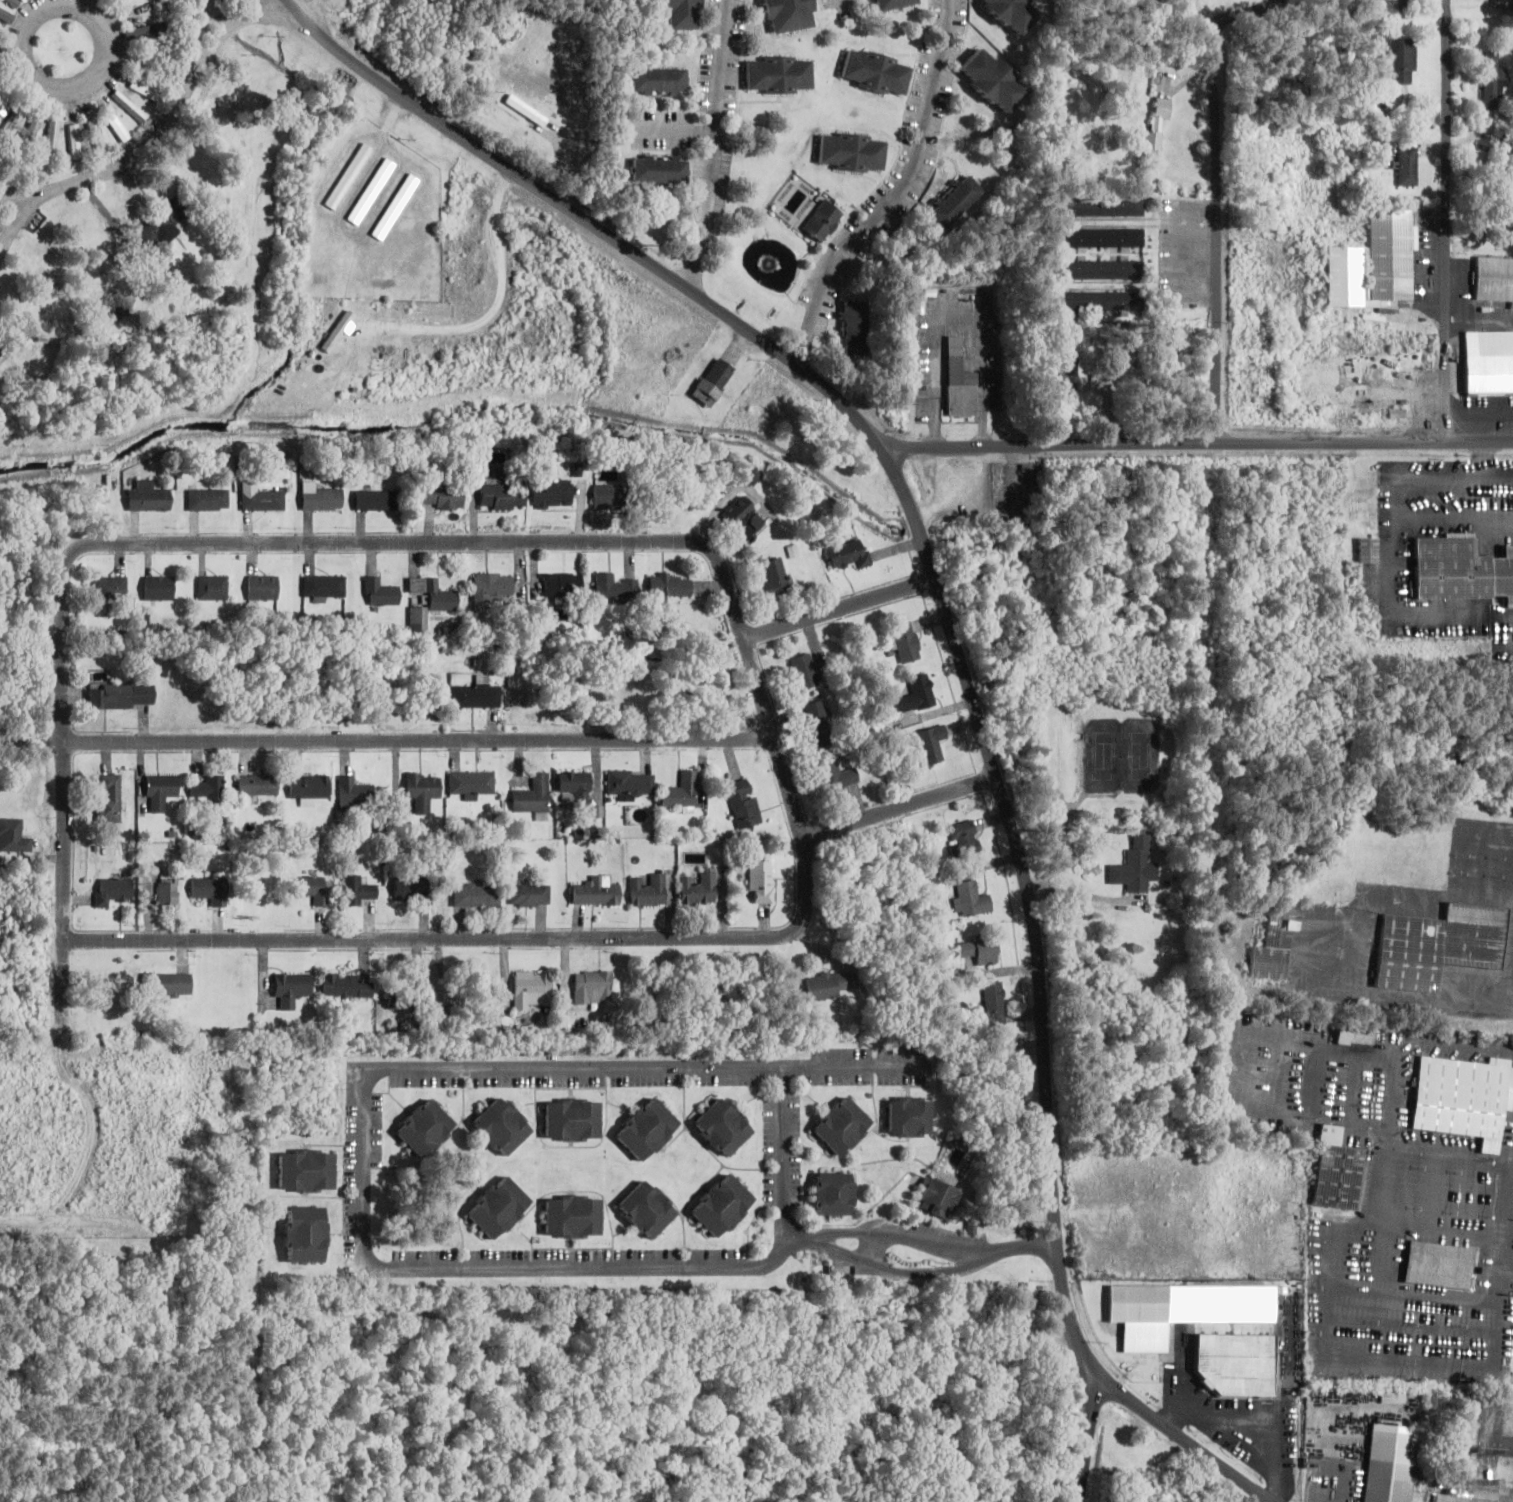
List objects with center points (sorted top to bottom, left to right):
building: (123, 1)
building: (15, 2)
building: (893, 4)
road: (316, 9)
building: (1013, 13)
building: (683, 14)
building: (790, 15)
building: (7, 16)
road: (1203, 24)
building: (0, 27)
road: (107, 27)
building: (147, 30)
building: (1403, 61)
road: (212, 63)
building: (876, 72)
building: (780, 75)
building: (991, 80)
building: (659, 81)
building: (1492, 81)
building: (145, 90)
building: (1, 106)
building: (130, 106)
building: (116, 123)
building: (1156, 127)
building: (34, 129)
building: (1511, 138)
building: (52, 140)
building: (76, 142)
road: (725, 147)
building: (852, 152)
building: (1407, 166)
building: (659, 169)
road: (125, 170)
building: (348, 176)
road: (910, 195)
building: (955, 200)
building: (1097, 206)
road: (1227, 213)
building: (823, 220)
road: (1457, 220)
building: (1484, 220)
building: (162, 223)
road: (597, 226)
road: (21, 238)
building: (1099, 238)
building: (1373, 263)
building: (1097, 270)
building: (1494, 279)
building: (1097, 301)
building: (854, 328)
building: (337, 331)
building: (1414, 357)
building: (1488, 362)
building: (1069, 374)
building: (960, 381)
building: (713, 382)
road: (1203, 450)
building: (753, 474)
building: (675, 492)
building: (551, 494)
building: (606, 496)
building: (147, 497)
building: (500, 497)
building: (320, 498)
building: (441, 498)
building: (207, 499)
building: (262, 499)
building: (375, 500)
building: (745, 519)
road: (920, 520)
building: (1367, 550)
building: (849, 554)
building: (1461, 570)
building: (775, 578)
building: (557, 585)
building: (670, 585)
building: (493, 586)
building: (159, 587)
building: (213, 587)
building: (262, 587)
building: (323, 587)
building: (617, 588)
building: (111, 589)
building: (379, 592)
building: (433, 593)
road: (844, 614)
building: (417, 619)
building: (905, 642)
building: (803, 671)
building: (387, 682)
road: (965, 684)
building: (917, 694)
building: (121, 695)
building: (477, 696)
building: (817, 723)
road: (421, 741)
building: (932, 743)
building: (838, 777)
road: (795, 779)
building: (471, 783)
building: (631, 783)
building: (258, 784)
building: (309, 788)
building: (422, 789)
building: (575, 789)
building: (211, 790)
building: (161, 791)
building: (683, 791)
building: (354, 793)
building: (535, 797)
building: (109, 798)
building: (744, 803)
road: (906, 811)
building: (12, 836)
building: (964, 838)
building: (1135, 865)
building: (761, 881)
building: (312, 888)
building: (701, 888)
building: (211, 889)
building: (649, 889)
building: (113, 890)
building: (413, 890)
building: (168, 891)
building: (358, 891)
building: (596, 891)
building: (476, 895)
building: (529, 895)
building: (972, 899)
building: (1275, 943)
building: (1438, 945)
building: (981, 949)
building: (168, 984)
building: (833, 985)
building: (346, 986)
building: (593, 987)
building: (292, 988)
building: (533, 989)
building: (407, 992)
building: (995, 1003)
building: (455, 1006)
building: (568, 1017)
building: (1356, 1035)
building: (1463, 1097)
building: (909, 1116)
building: (573, 1119)
building: (841, 1125)
building: (501, 1126)
building: (722, 1126)
building: (424, 1127)
building: (647, 1129)
building: (307, 1170)
building: (1337, 1171)
road: (1056, 1186)
building: (833, 1193)
building: (939, 1198)
building: (721, 1205)
building: (498, 1207)
building: (646, 1209)
building: (573, 1216)
building: (305, 1234)
building: (1442, 1264)
building: (1139, 1303)
building: (1235, 1364)
building: (1466, 1433)
road: (1087, 1436)
building: (1390, 1463)

